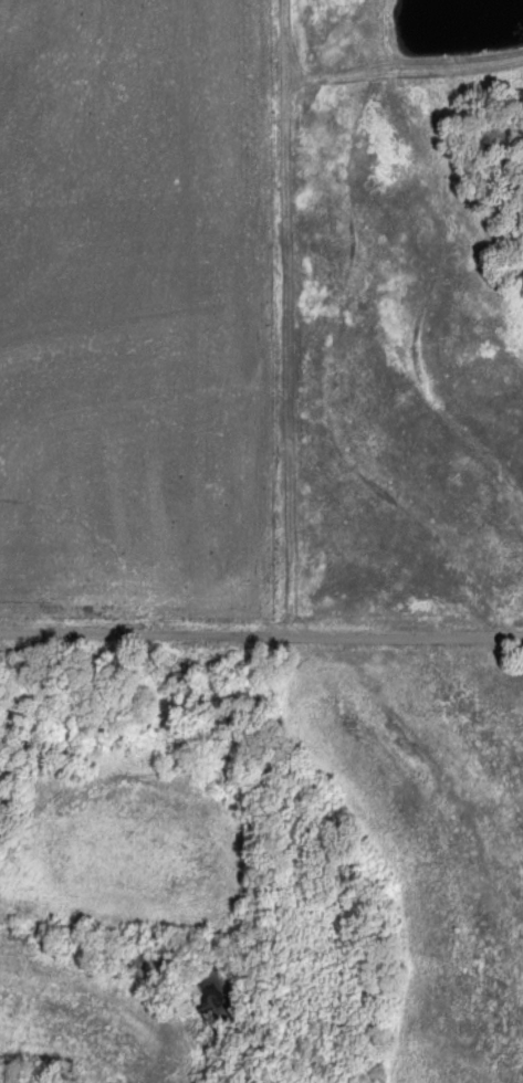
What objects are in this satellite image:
road: (261, 610)

